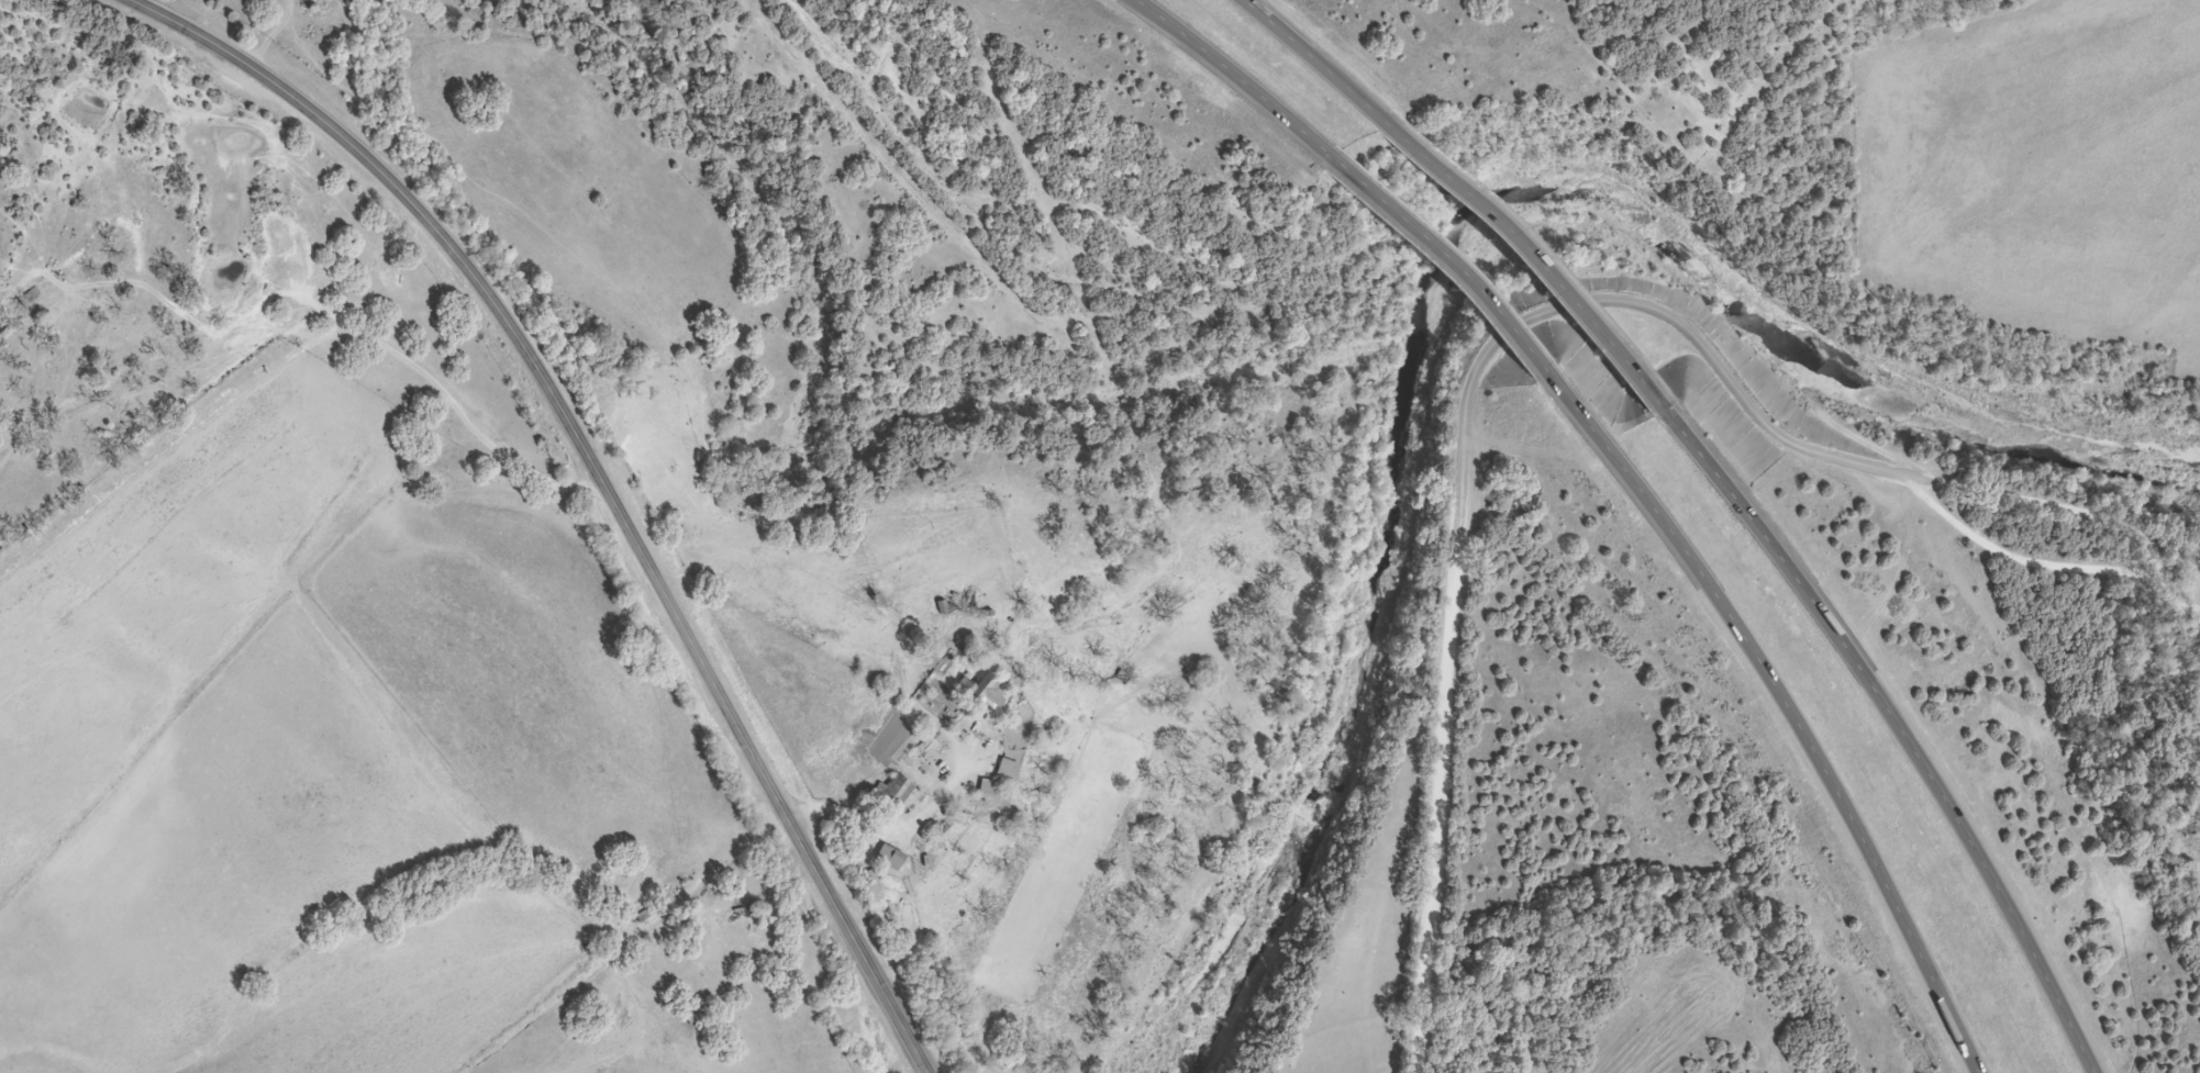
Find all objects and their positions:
road: (1319, 59)
road: (1232, 76)
road: (1433, 258)
road: (1520, 264)
road: (1538, 328)
road: (596, 477)
building: (868, 603)
building: (982, 694)
road: (1781, 704)
road: (1896, 725)
building: (1003, 770)
building: (897, 791)
building: (985, 791)
building: (888, 859)
building: (918, 864)

